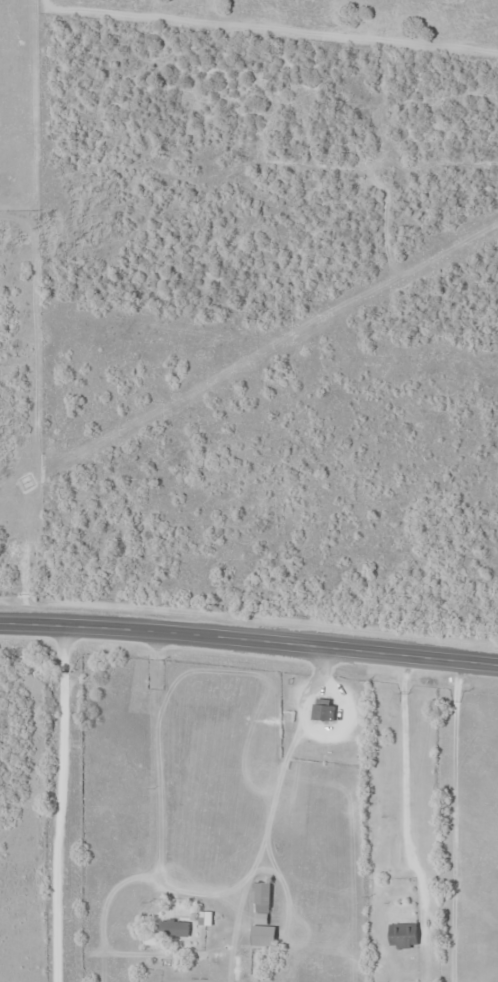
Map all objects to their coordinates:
road: (249, 649)
building: (322, 711)
road: (171, 762)
road: (38, 808)
building: (260, 918)
building: (171, 928)
building: (401, 936)

